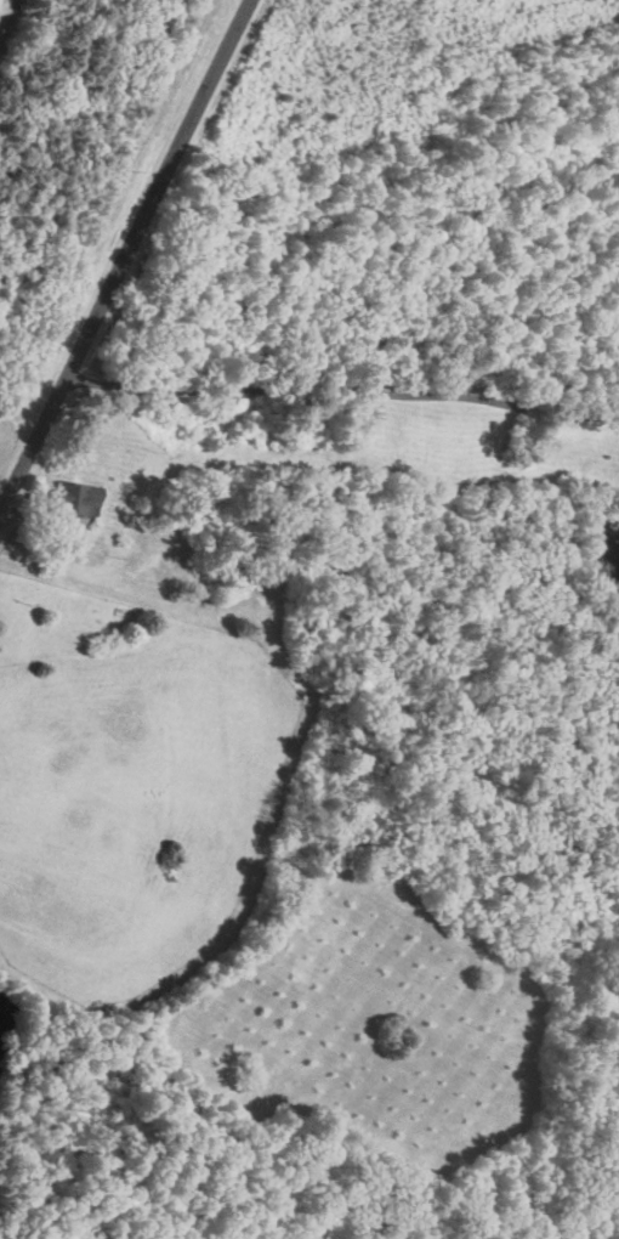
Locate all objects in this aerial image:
road: (130, 258)
road: (343, 391)
building: (74, 498)

